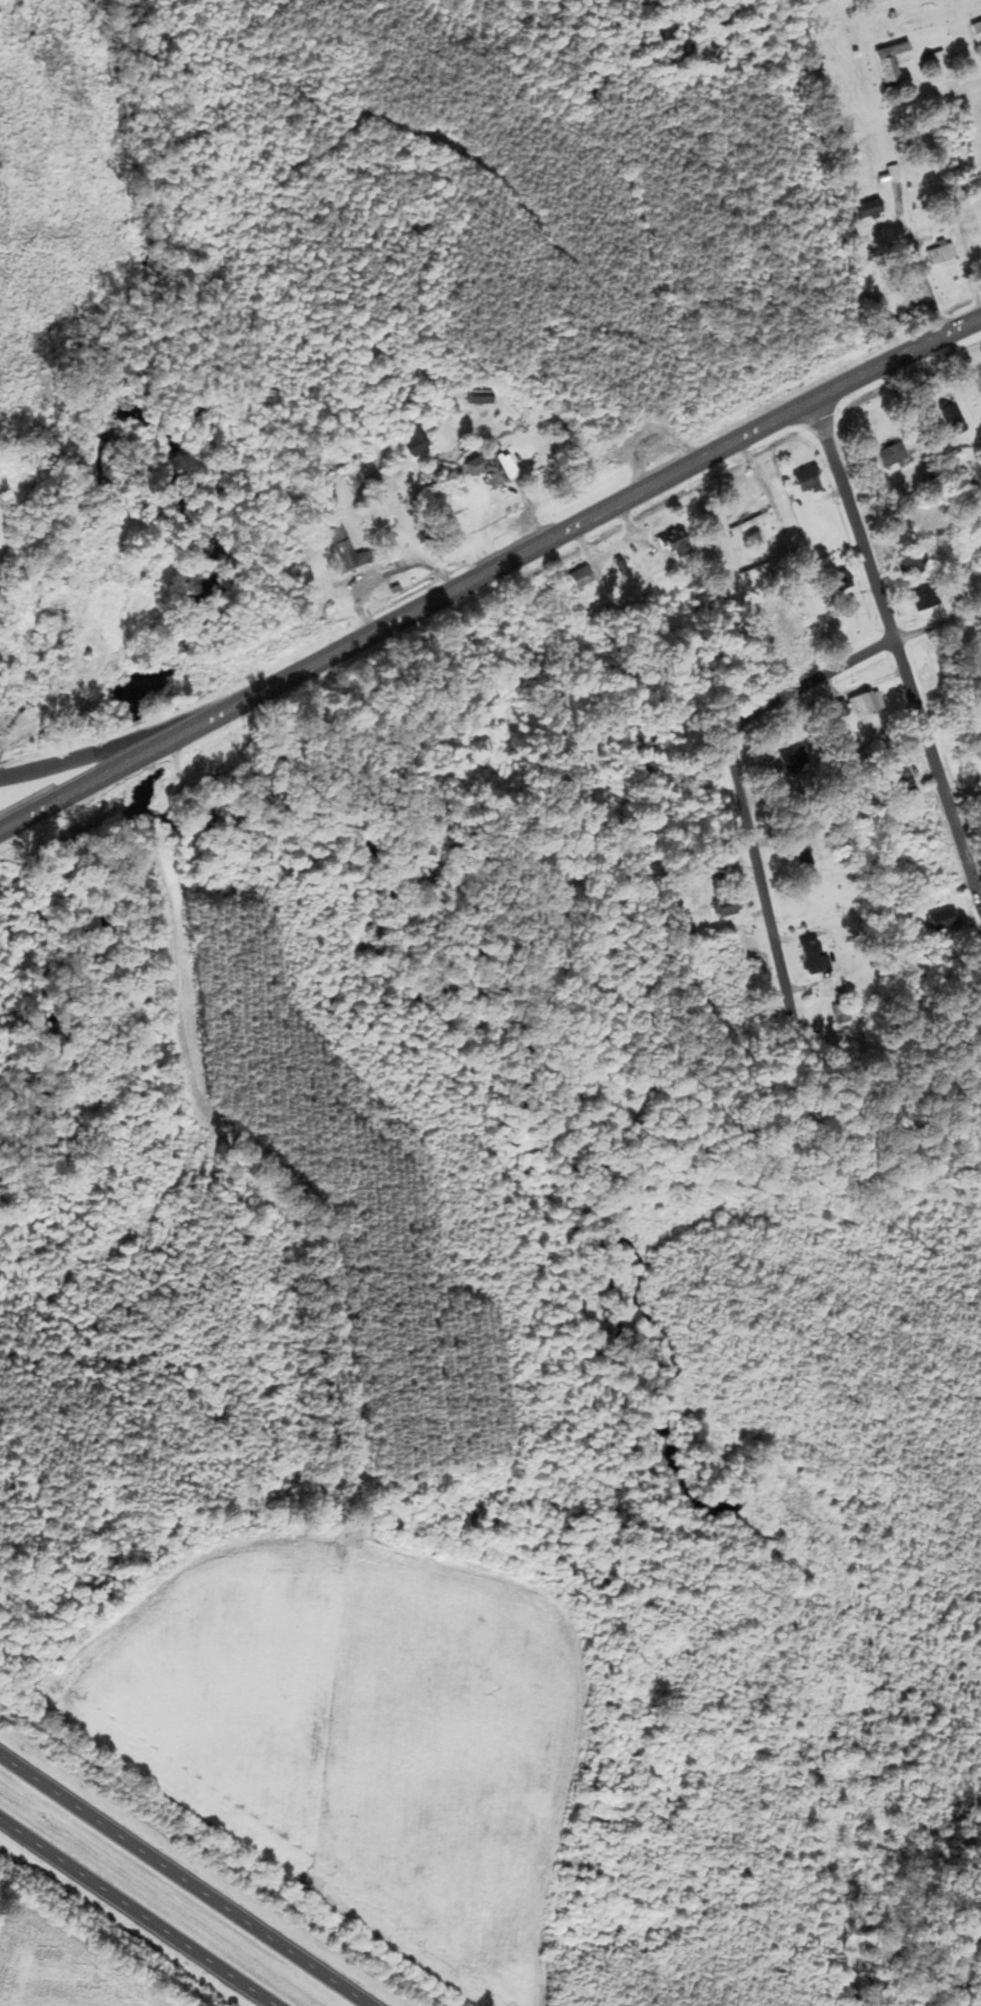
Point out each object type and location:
building: (977, 31)
building: (894, 62)
road: (949, 90)
building: (964, 187)
building: (870, 210)
building: (943, 255)
road: (923, 282)
building: (879, 308)
building: (482, 395)
building: (954, 420)
building: (414, 436)
building: (894, 455)
building: (495, 470)
building: (808, 481)
road: (854, 522)
building: (751, 524)
road: (573, 528)
building: (902, 534)
building: (677, 544)
building: (349, 550)
building: (908, 568)
building: (582, 578)
building: (843, 581)
building: (926, 600)
road: (938, 625)
building: (866, 705)
building: (647, 756)
road: (84, 758)
road: (938, 770)
building: (899, 775)
road: (85, 787)
road: (737, 799)
building: (805, 857)
building: (729, 908)
building: (943, 921)
building: (814, 957)
building: (843, 1013)
building: (134, 1265)
road: (183, 1882)
road: (136, 1912)

